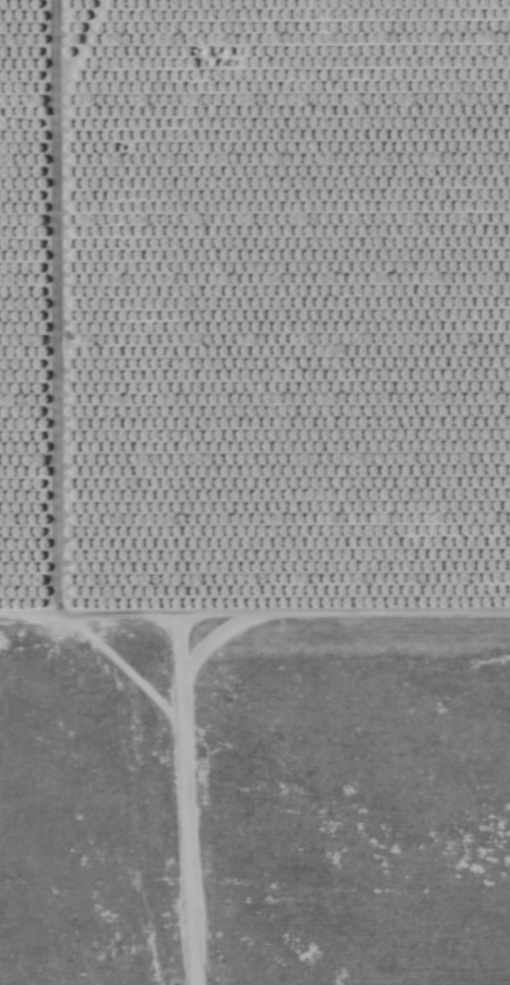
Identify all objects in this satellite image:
road: (51, 309)
crop: (255, 311)

